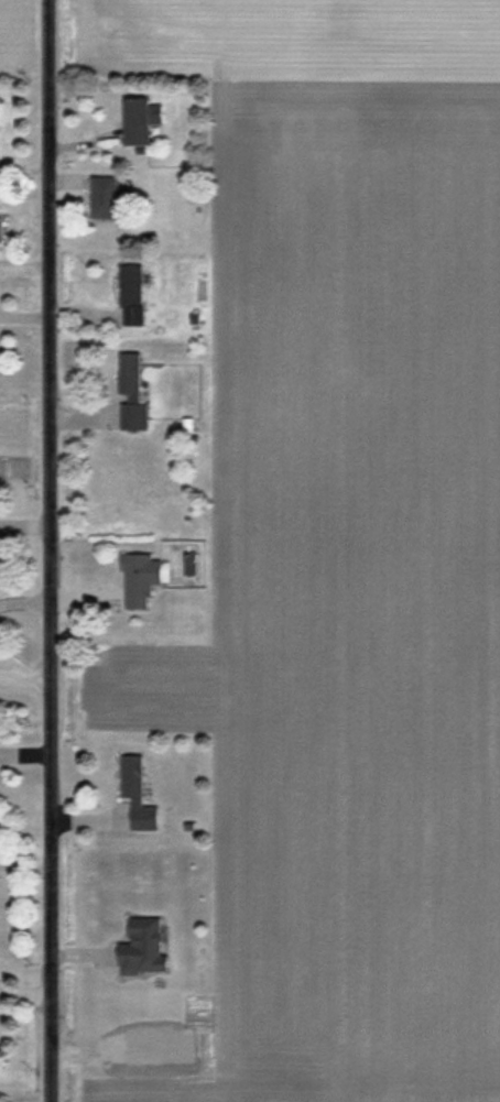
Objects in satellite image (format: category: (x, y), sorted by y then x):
building: (142, 120)
building: (111, 198)
building: (2, 227)
building: (135, 294)
building: (137, 393)
road: (52, 550)
building: (145, 579)
building: (142, 794)
building: (149, 947)

